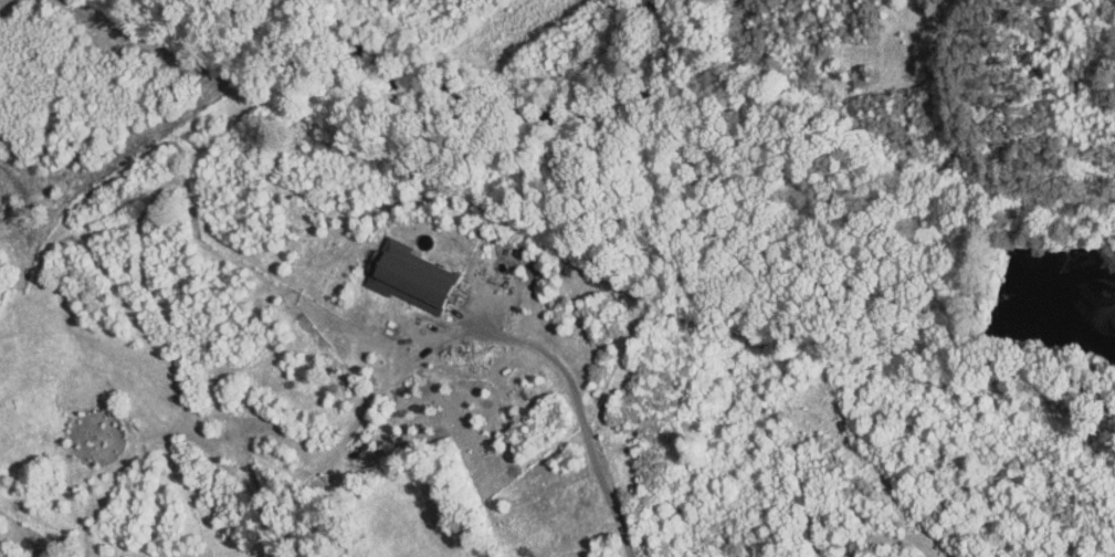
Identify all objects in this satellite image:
building: (395, 270)
road: (580, 418)

